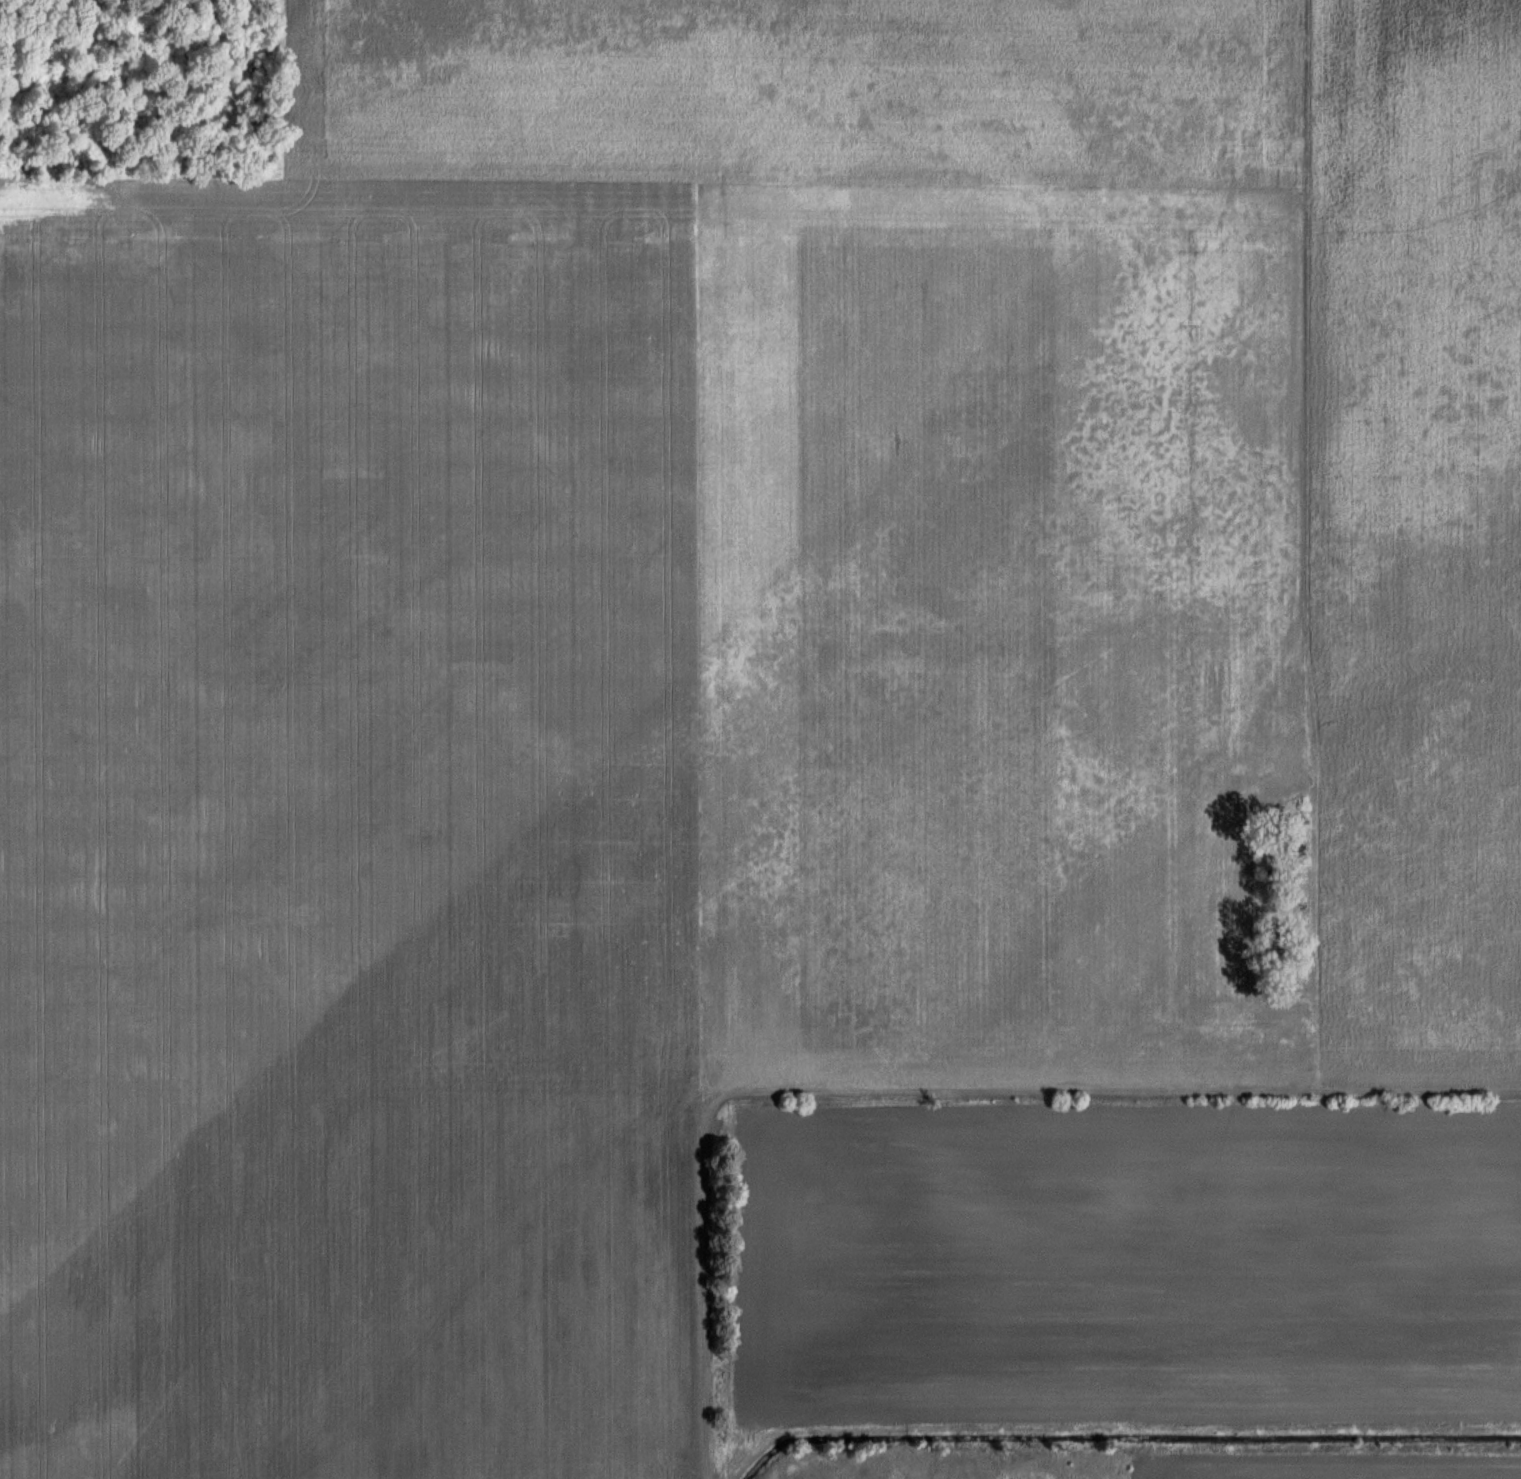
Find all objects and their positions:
road: (1324, 363)

